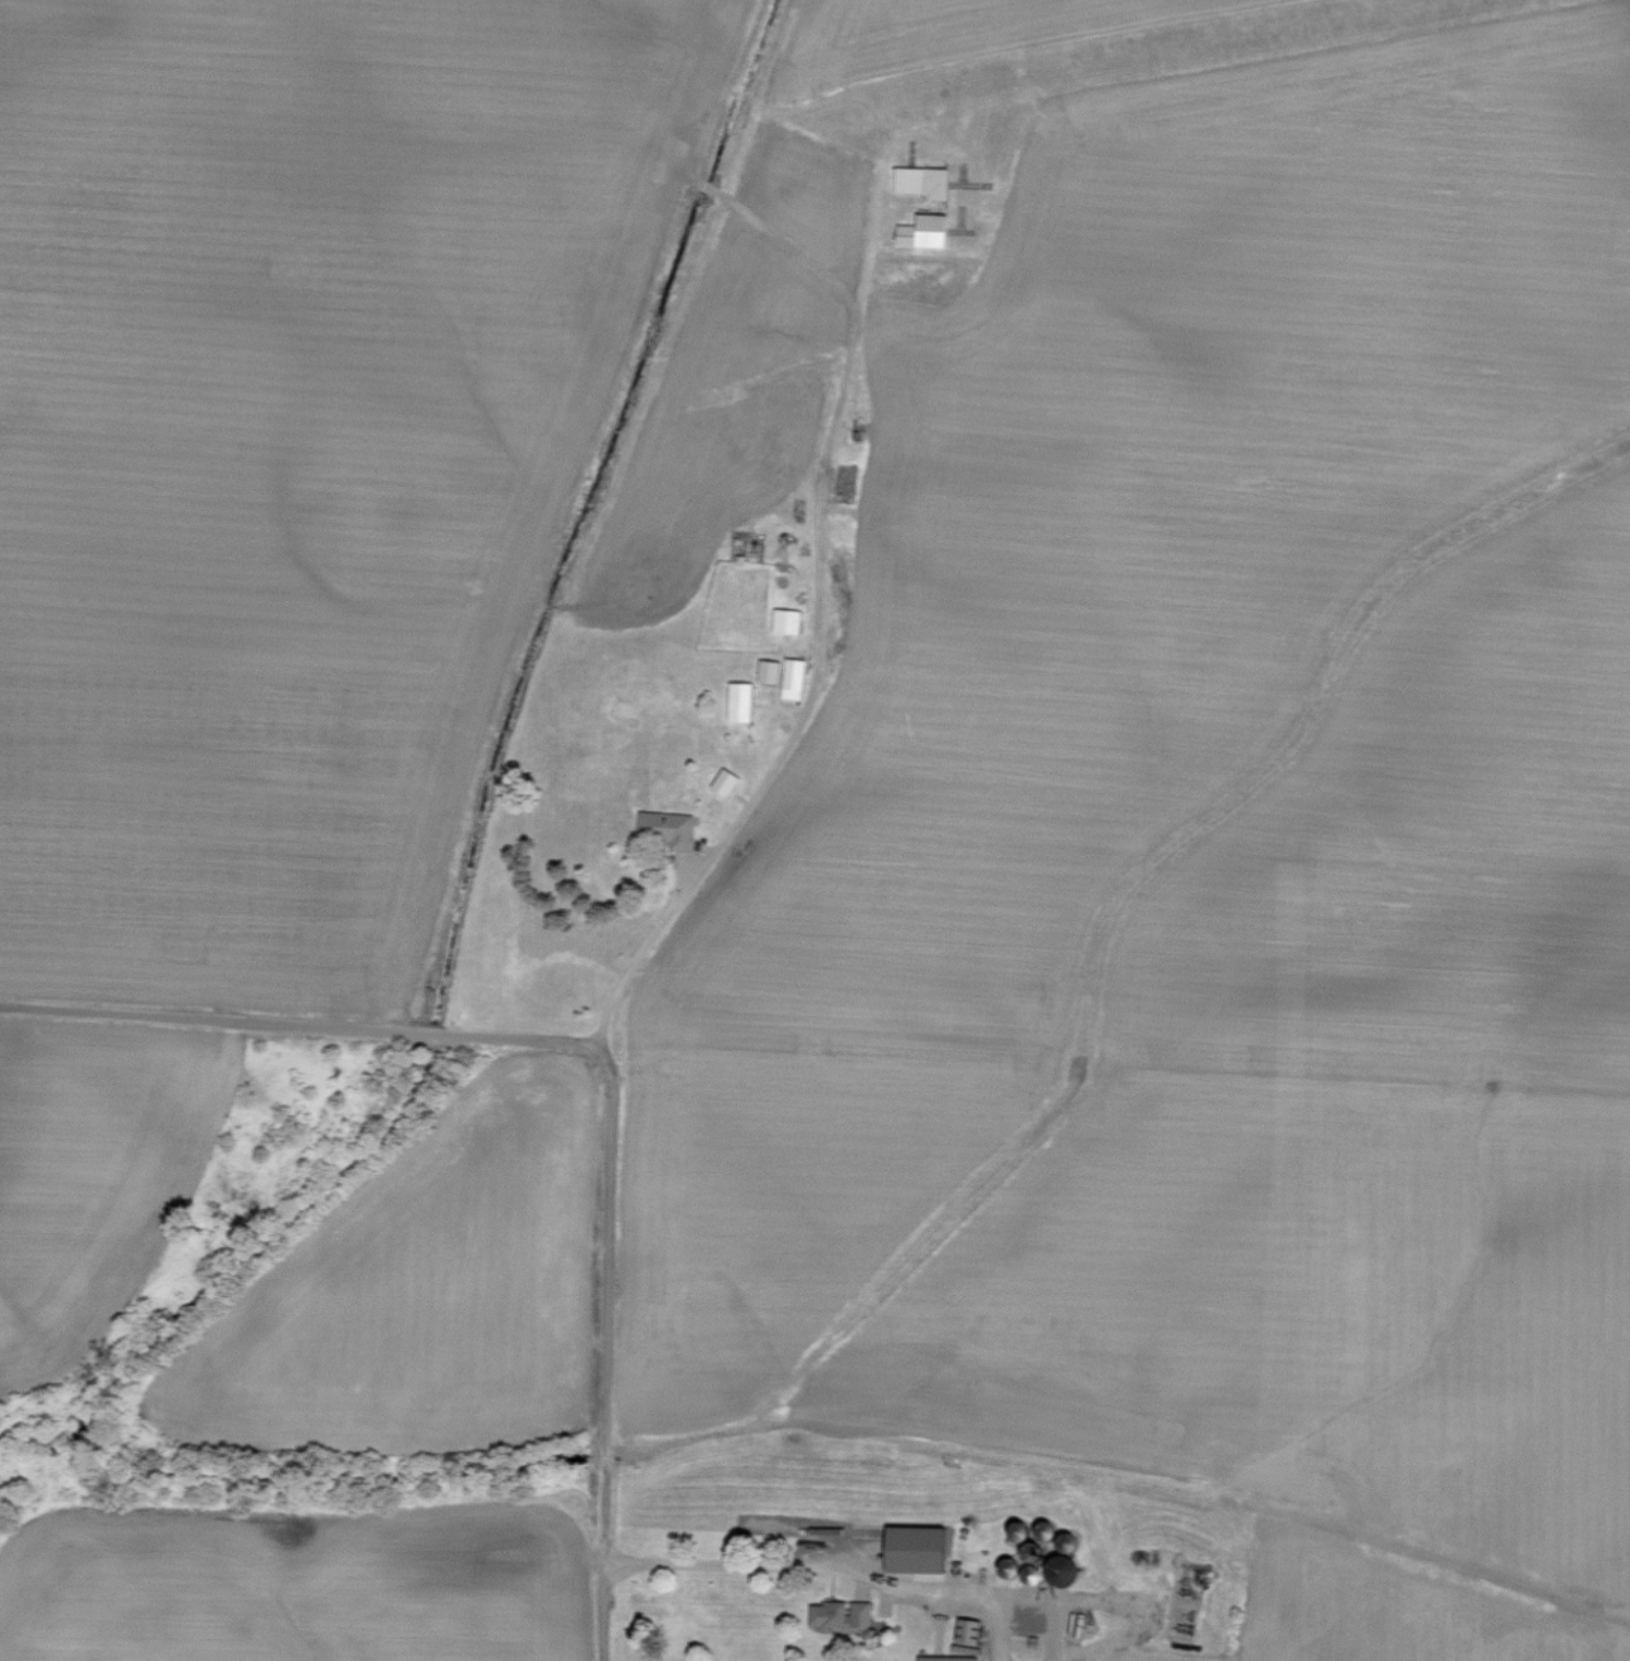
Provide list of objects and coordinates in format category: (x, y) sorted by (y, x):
airport runway: (1181, 51)
building: (920, 182)
building: (922, 232)
building: (785, 621)
building: (767, 670)
building: (792, 679)
building: (738, 701)
building: (723, 782)
road: (744, 810)
road: (295, 1023)
road: (605, 1352)
building: (910, 1550)
road: (805, 1564)
road: (1123, 1602)
building: (838, 1615)
road: (998, 1635)
building: (944, 1659)

